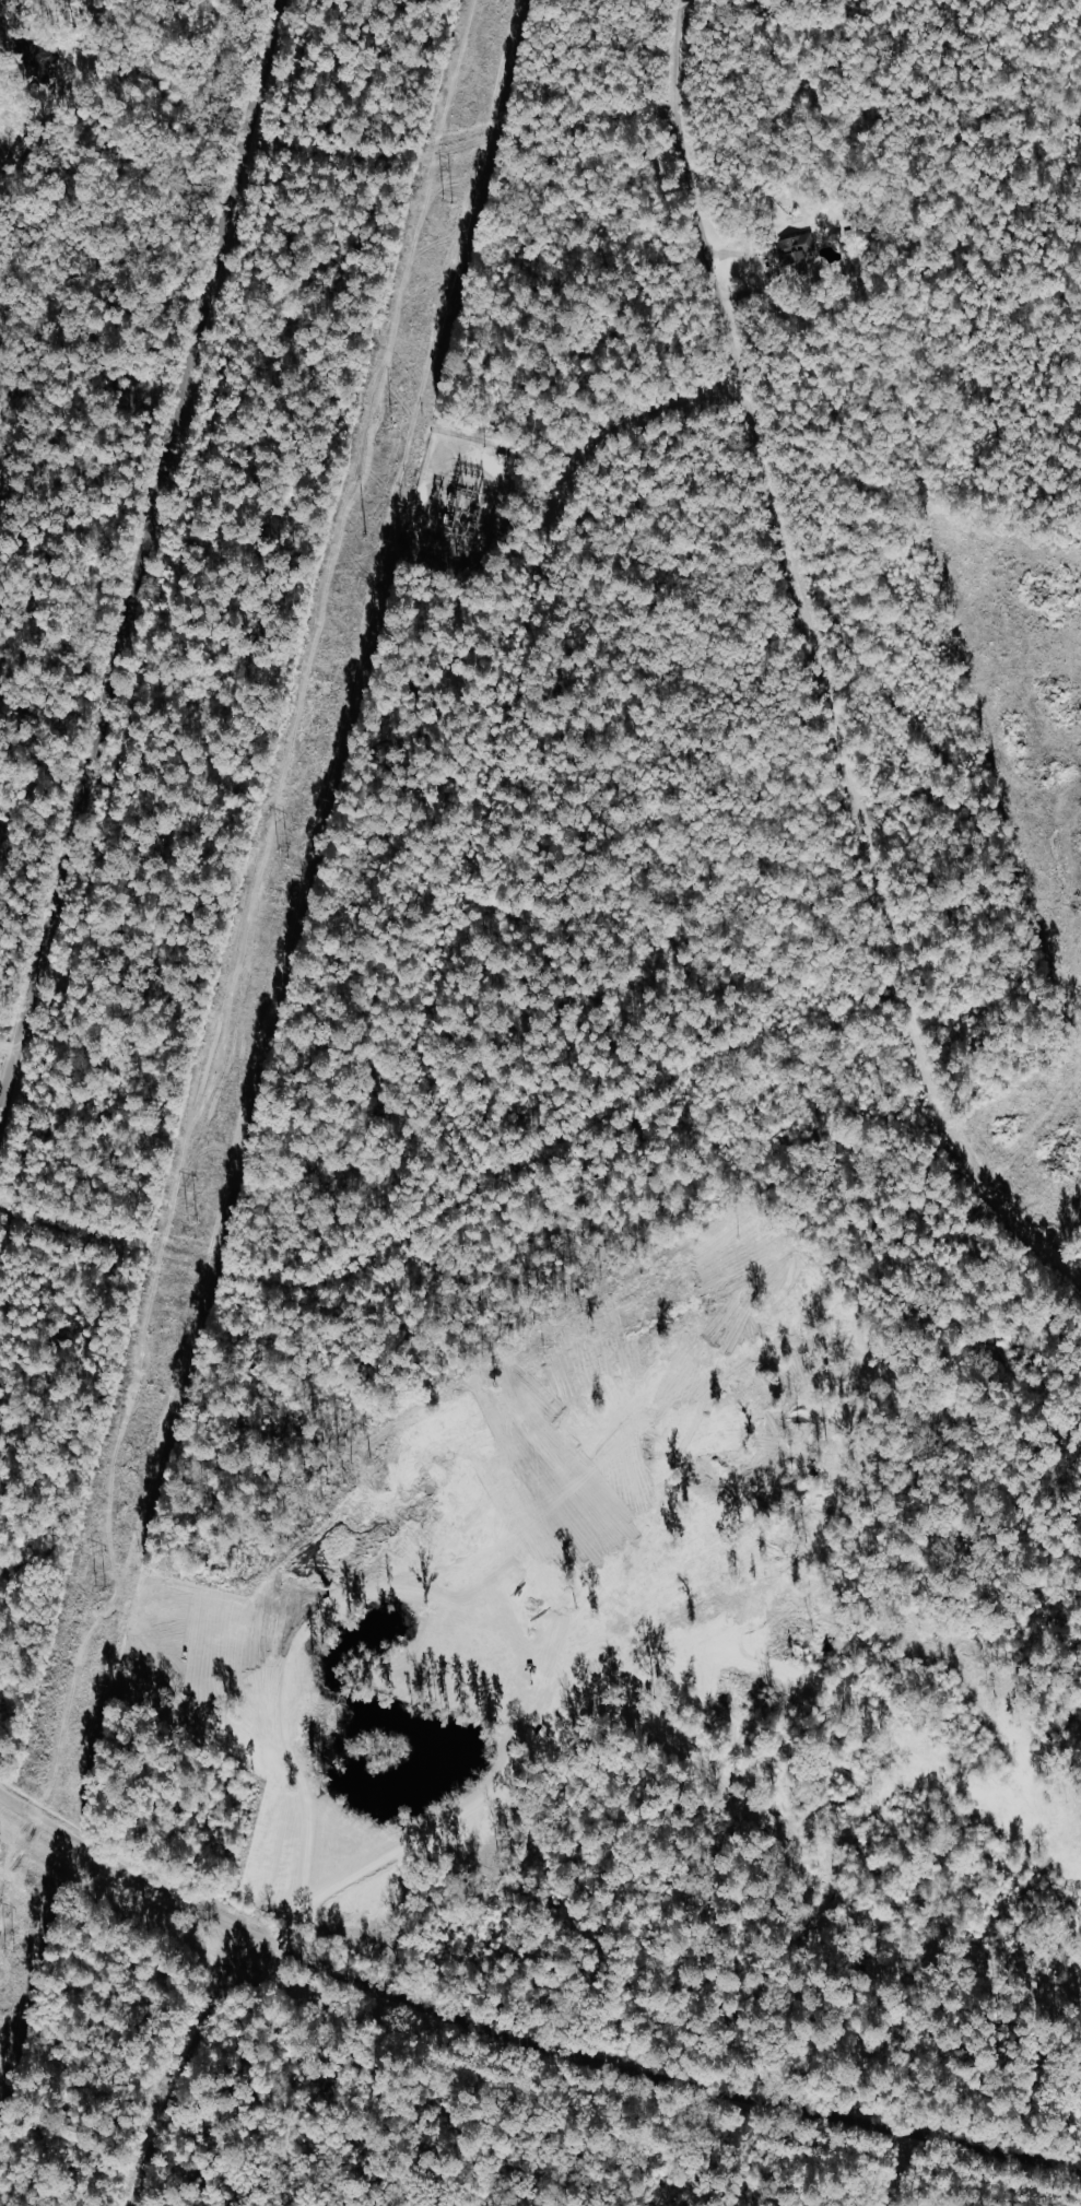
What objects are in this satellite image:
power tower: (446, 202)
building: (798, 255)
power tower: (392, 422)
power tower: (483, 447)
power substation: (456, 496)
power tower: (366, 533)
power tower: (454, 556)
road: (144, 564)
road: (822, 664)
road: (500, 729)
power tower: (282, 855)
road: (10, 1048)
road: (461, 1196)
power tower: (191, 1218)
power tower: (99, 1586)
road: (458, 1618)
road: (129, 1870)
power tower: (10, 1951)
road: (634, 1980)
road: (186, 2066)
road: (666, 2078)
road: (900, 2168)

